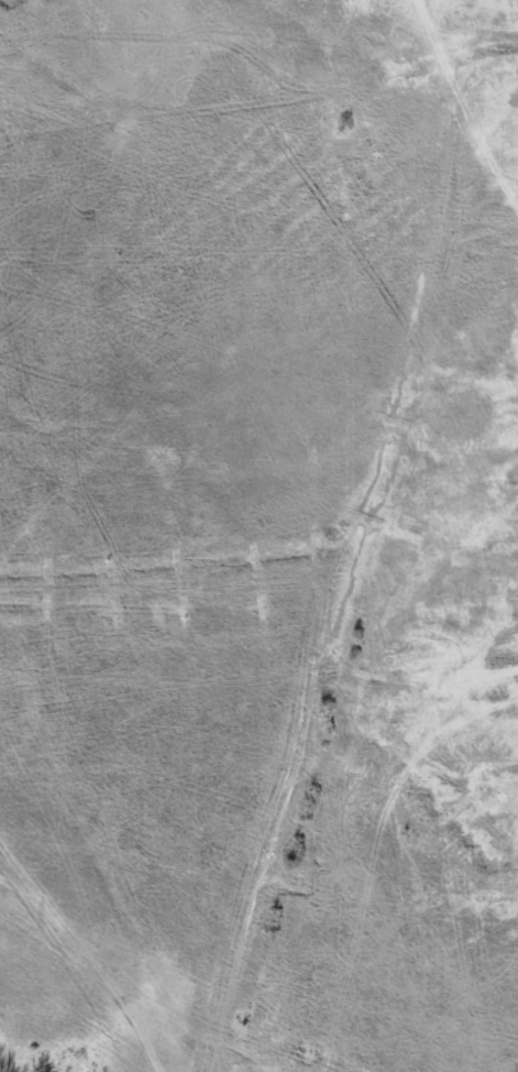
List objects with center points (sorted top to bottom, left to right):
road: (425, 24)

